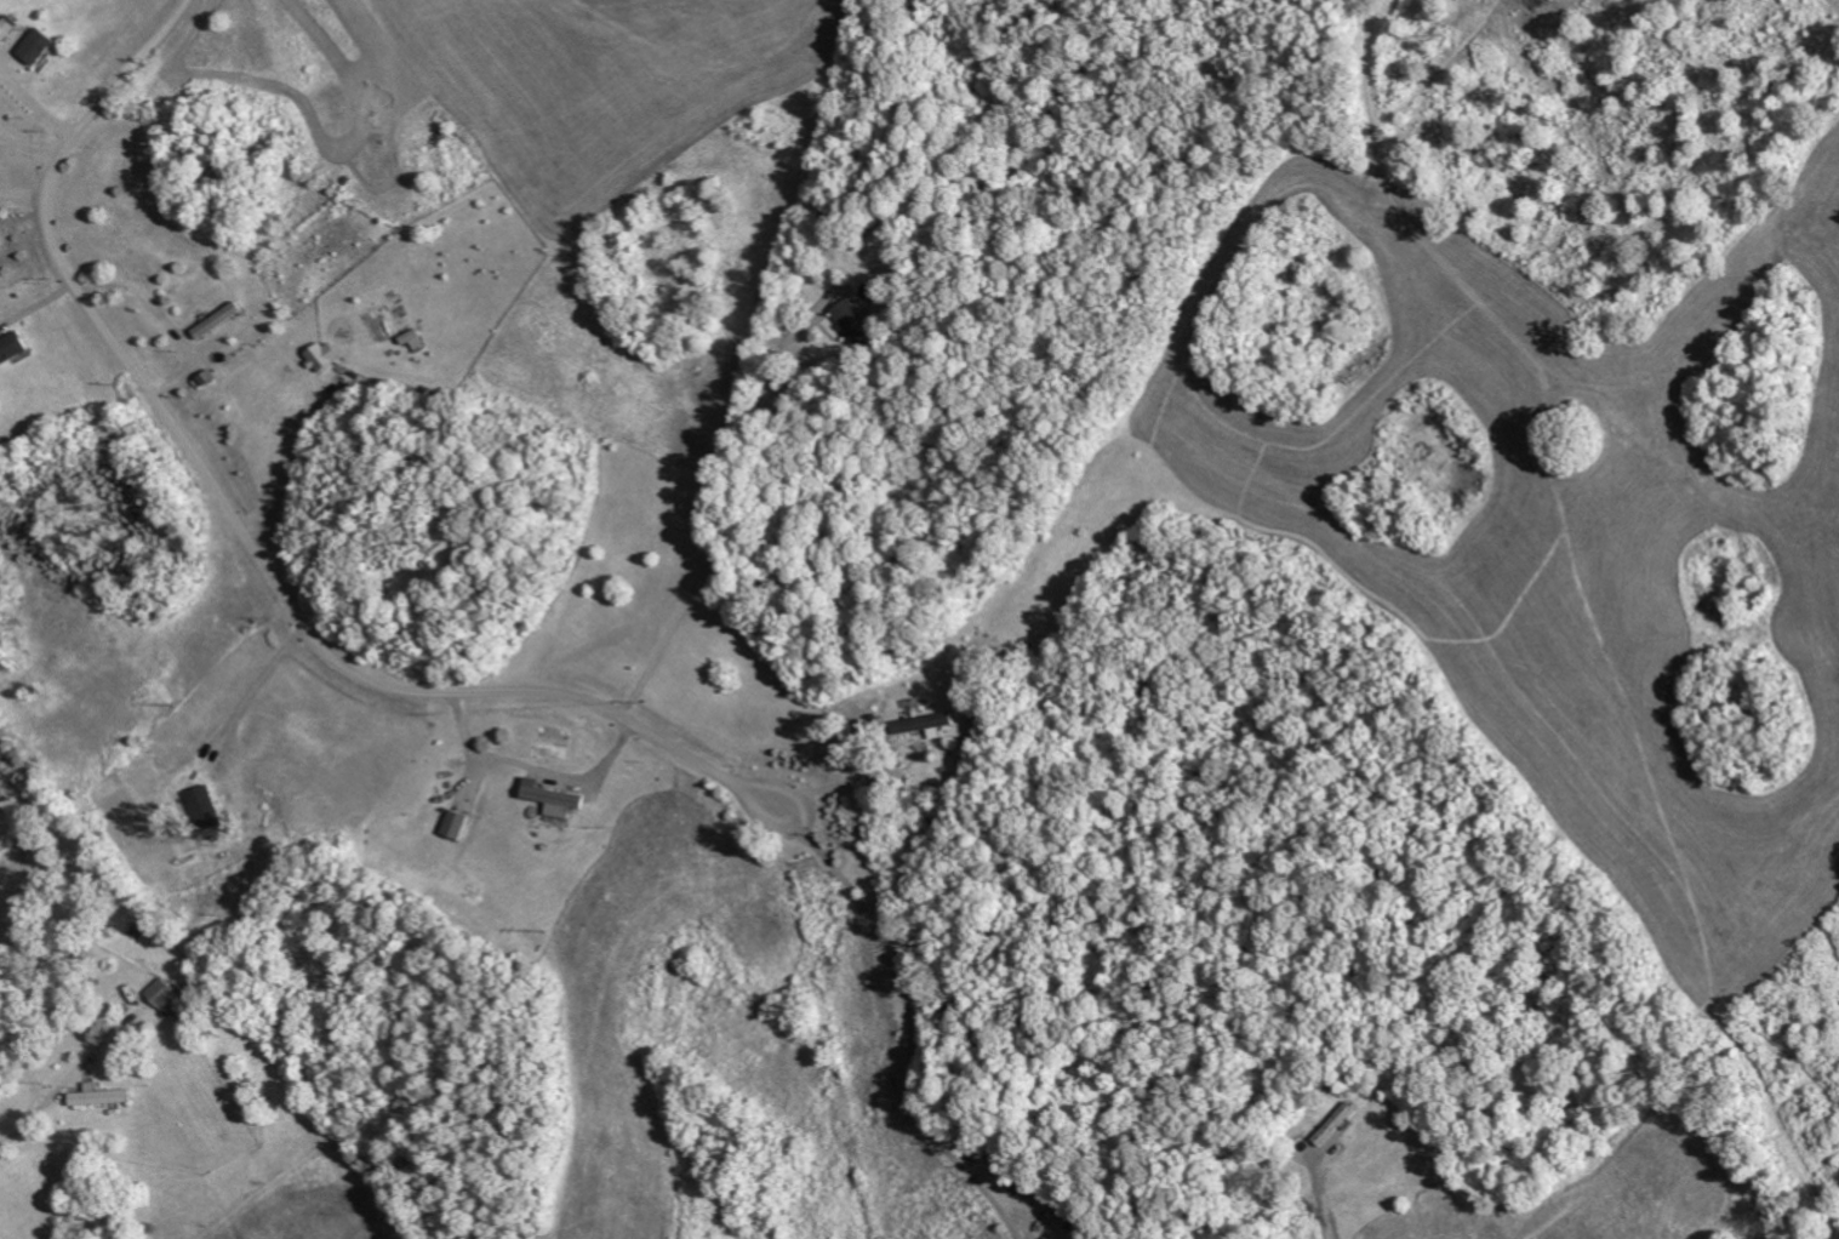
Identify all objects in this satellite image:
building: (7, 29)
building: (40, 47)
road: (30, 147)
road: (166, 319)
building: (856, 321)
building: (13, 349)
building: (325, 356)
road: (291, 463)
road: (228, 504)
road: (723, 532)
road: (255, 689)
building: (925, 721)
road: (846, 783)
road: (777, 792)
building: (556, 800)
building: (207, 807)
road: (756, 815)
building: (457, 824)
building: (167, 997)
road: (913, 1037)
road: (51, 1096)
building: (103, 1096)
road: (1319, 1200)

